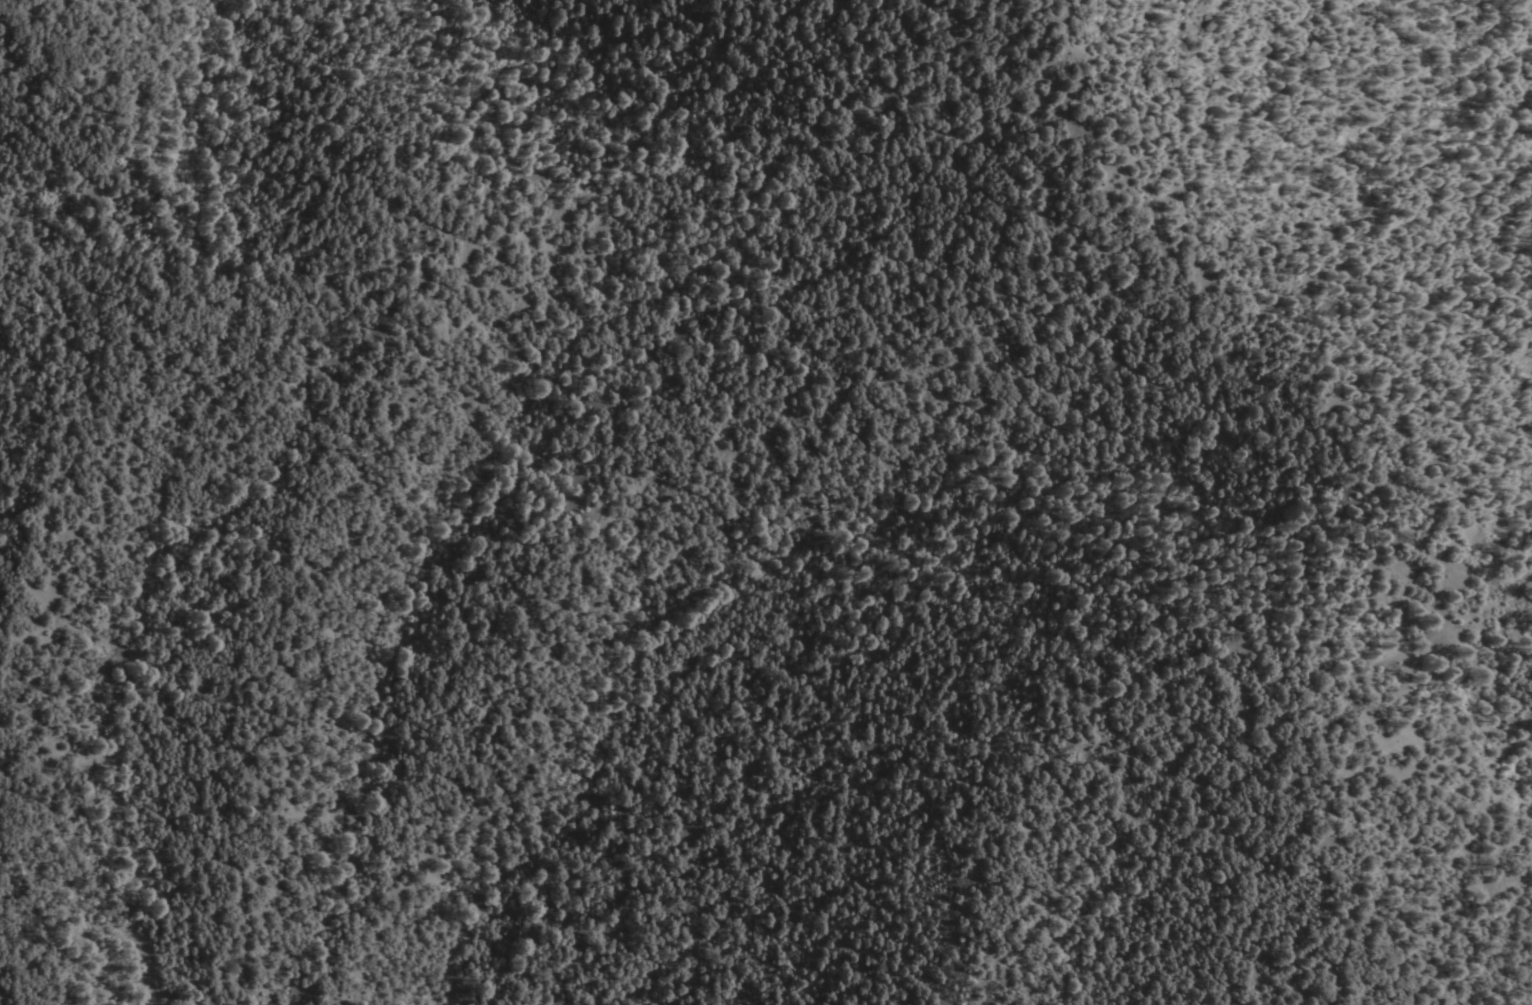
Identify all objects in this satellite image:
road: (748, 202)

